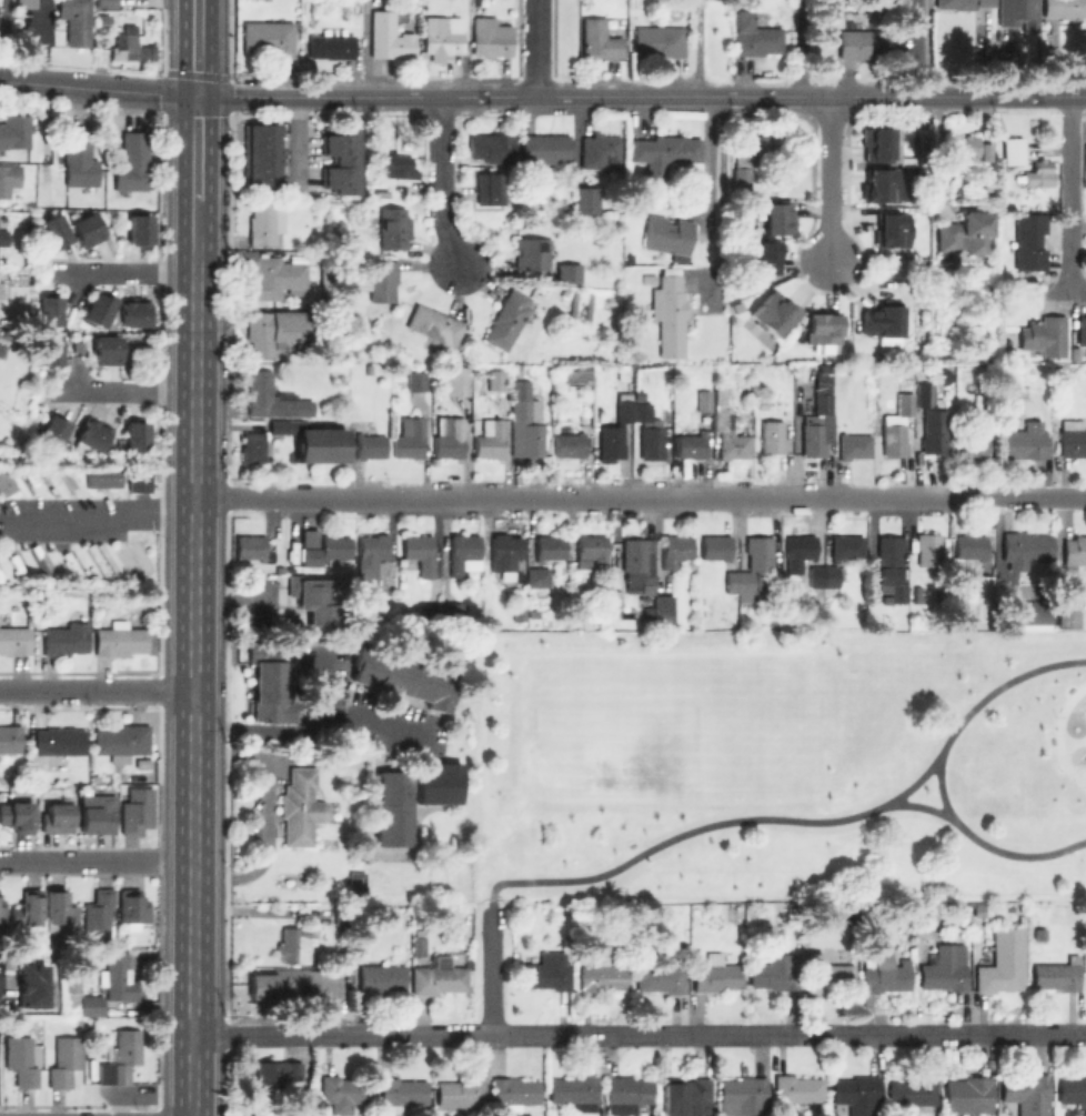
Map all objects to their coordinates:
building: (27, 2)
building: (831, 4)
building: (961, 4)
building: (107, 7)
building: (1064, 8)
building: (1017, 14)
building: (0, 19)
building: (76, 20)
building: (442, 37)
building: (755, 37)
building: (270, 38)
building: (388, 38)
building: (491, 38)
building: (600, 40)
building: (661, 40)
road: (40, 42)
building: (865, 42)
building: (333, 44)
building: (131, 48)
road: (197, 48)
road: (803, 48)
road: (914, 48)
road: (535, 49)
road: (17, 82)
traffic signals: (197, 97)
road: (199, 97)
road: (725, 97)
building: (14, 130)
building: (881, 144)
building: (964, 145)
building: (758, 147)
road: (195, 148)
building: (489, 148)
building: (545, 148)
building: (599, 150)
building: (1012, 151)
building: (663, 152)
building: (260, 155)
building: (80, 158)
building: (737, 158)
building: (340, 159)
building: (133, 161)
building: (398, 165)
building: (1039, 173)
building: (9, 178)
building: (741, 179)
road: (828, 180)
road: (440, 182)
building: (878, 185)
building: (486, 188)
road: (1070, 198)
building: (585, 201)
road: (710, 203)
building: (780, 217)
road: (195, 220)
building: (264, 220)
building: (88, 227)
building: (390, 227)
building: (141, 228)
building: (56, 229)
building: (892, 230)
building: (964, 232)
building: (667, 234)
building: (2, 237)
building: (1028, 240)
building: (531, 253)
building: (764, 255)
building: (567, 271)
road: (123, 272)
building: (323, 272)
building: (274, 277)
building: (378, 279)
building: (648, 279)
building: (99, 305)
building: (49, 306)
building: (135, 310)
building: (772, 312)
building: (670, 314)
building: (506, 319)
building: (883, 320)
building: (433, 326)
building: (1082, 329)
building: (823, 330)
building: (279, 333)
building: (1044, 334)
building: (50, 346)
building: (109, 348)
building: (0, 350)
building: (1074, 354)
building: (824, 370)
building: (1059, 373)
building: (573, 376)
building: (495, 379)
building: (416, 380)
building: (454, 381)
road: (122, 391)
building: (924, 393)
building: (272, 398)
building: (703, 400)
building: (763, 402)
building: (823, 402)
building: (905, 403)
building: (978, 404)
building: (621, 426)
building: (524, 430)
building: (56, 431)
building: (933, 431)
building: (728, 433)
building: (95, 434)
building: (138, 435)
building: (449, 436)
building: (773, 436)
building: (1072, 436)
building: (409, 438)
building: (490, 438)
building: (815, 440)
building: (894, 440)
building: (310, 441)
building: (1025, 441)
building: (651, 442)
building: (691, 442)
building: (974, 442)
building: (570, 444)
building: (370, 445)
building: (855, 445)
building: (251, 446)
building: (107, 475)
building: (6, 476)
building: (142, 477)
road: (640, 499)
road: (97, 517)
building: (971, 545)
building: (253, 546)
building: (549, 546)
building: (715, 546)
building: (847, 546)
building: (591, 547)
building: (1023, 547)
building: (927, 549)
building: (677, 550)
building: (326, 551)
building: (420, 552)
building: (504, 552)
building: (463, 553)
building: (1075, 553)
building: (760, 560)
building: (371, 561)
building: (794, 561)
building: (103, 563)
building: (636, 563)
building: (134, 564)
building: (72, 565)
building: (891, 566)
building: (20, 567)
building: (536, 575)
building: (738, 582)
building: (617, 584)
building: (918, 593)
building: (819, 596)
building: (981, 597)
road: (228, 599)
building: (316, 605)
building: (662, 611)
building: (1066, 612)
building: (455, 614)
building: (1033, 615)
building: (432, 617)
building: (490, 625)
building: (64, 639)
building: (120, 639)
building: (16, 640)
road: (193, 677)
building: (404, 677)
building: (272, 681)
road: (97, 692)
road: (306, 726)
building: (10, 737)
road: (1056, 737)
building: (60, 740)
building: (122, 741)
building: (144, 763)
park: (780, 765)
building: (440, 783)
building: (300, 805)
building: (394, 808)
road: (916, 810)
building: (138, 813)
road: (267, 813)
building: (99, 814)
building: (19, 815)
building: (58, 818)
road: (805, 822)
road: (986, 846)
road: (97, 862)
building: (358, 881)
building: (29, 908)
building: (62, 909)
building: (134, 909)
building: (978, 909)
building: (2, 913)
building: (100, 916)
building: (1039, 934)
building: (416, 938)
building: (294, 944)
building: (343, 956)
building: (1005, 964)
building: (946, 968)
road: (489, 971)
building: (547, 972)
building: (775, 972)
building: (886, 972)
building: (716, 973)
building: (826, 974)
building: (603, 975)
building: (662, 976)
building: (1056, 976)
building: (119, 977)
building: (382, 977)
building: (440, 977)
building: (1085, 977)
building: (73, 982)
building: (290, 983)
building: (34, 986)
building: (92, 1004)
road: (638, 1035)
building: (123, 1057)
building: (66, 1059)
building: (22, 1060)
building: (282, 1074)
building: (515, 1090)
building: (344, 1092)
building: (575, 1092)
building: (796, 1092)
building: (972, 1092)
building: (1074, 1092)
building: (461, 1093)
building: (401, 1094)
building: (627, 1094)
building: (859, 1094)
building: (913, 1094)
building: (1029, 1094)
building: (686, 1096)
building: (744, 1096)
building: (316, 1110)

